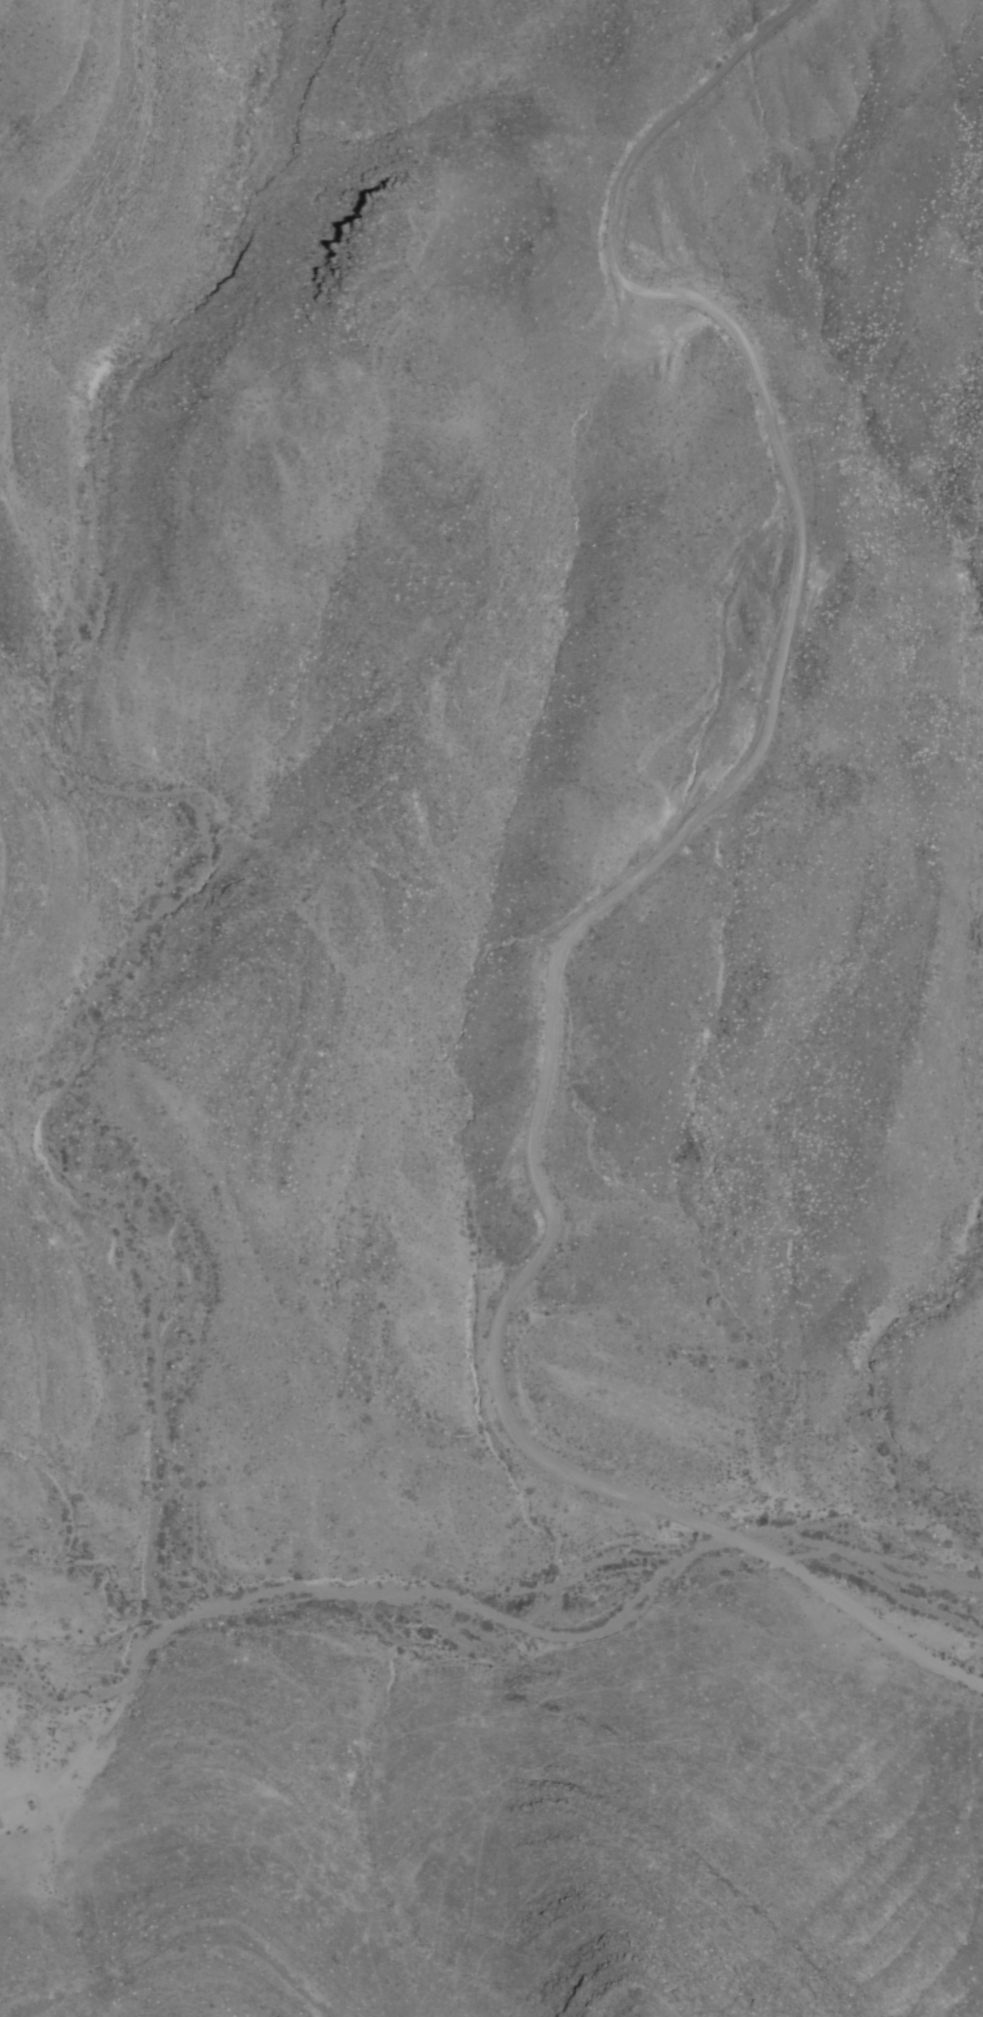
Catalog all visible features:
road: (758, 642)
road: (679, 1518)
building: (1, 1827)

